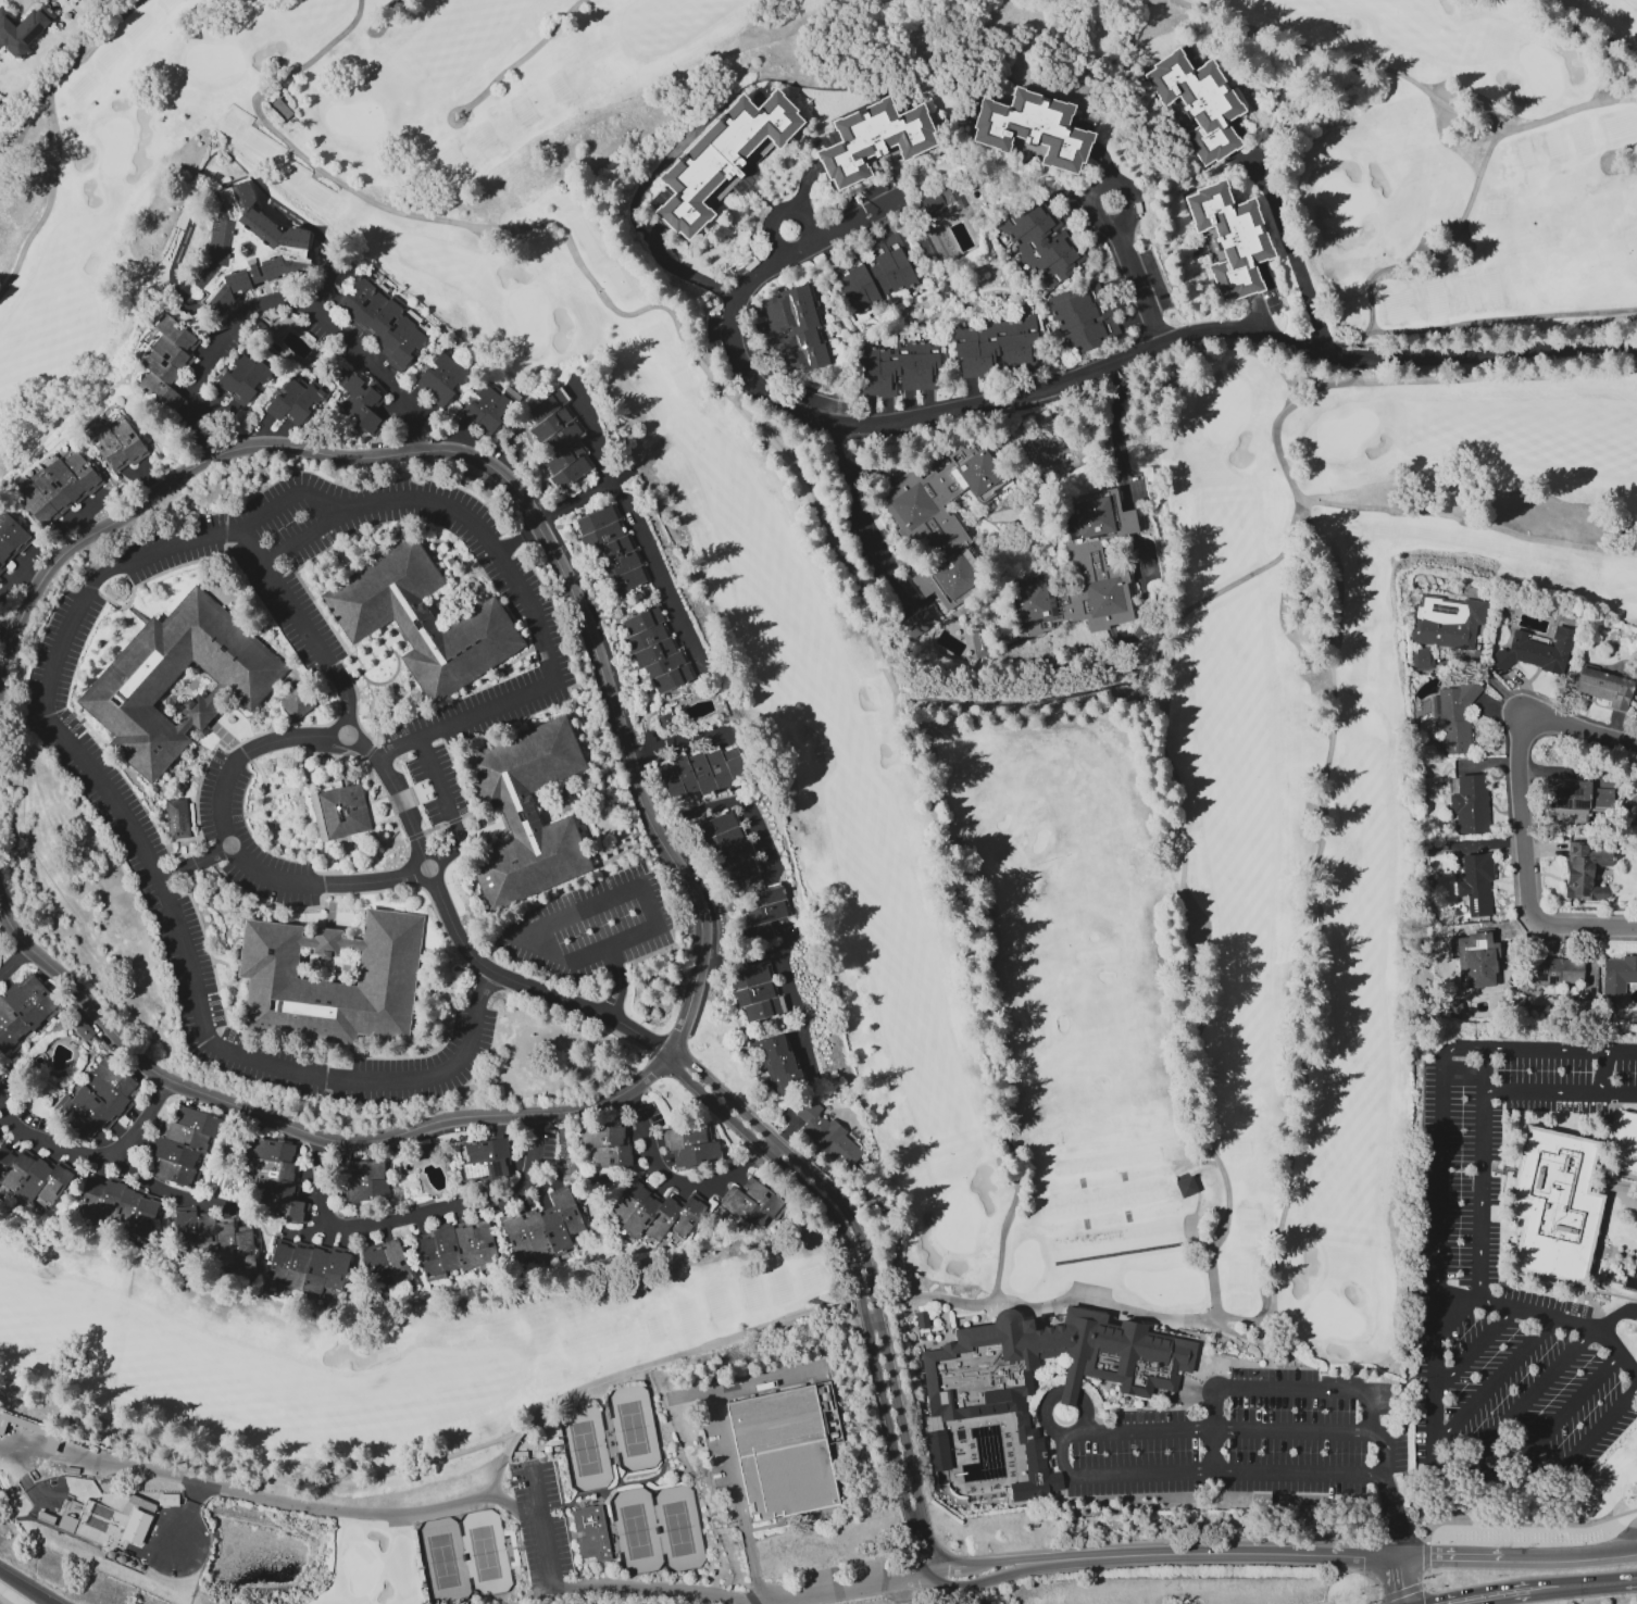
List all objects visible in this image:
road: (1561, 25)
building: (23, 28)
road: (1616, 47)
road: (530, 57)
road: (1341, 60)
building: (1196, 105)
road: (1580, 110)
road: (452, 125)
building: (1030, 130)
road: (57, 135)
building: (871, 142)
building: (717, 159)
road: (803, 188)
building: (935, 200)
road: (784, 208)
road: (1127, 215)
building: (1229, 240)
building: (1040, 243)
building: (245, 247)
road: (1444, 250)
road: (772, 260)
road: (1295, 261)
road: (684, 272)
building: (877, 274)
building: (355, 296)
road: (272, 308)
building: (367, 310)
building: (1083, 316)
building: (384, 318)
road: (1477, 325)
building: (796, 327)
building: (175, 334)
building: (395, 335)
building: (994, 344)
building: (164, 348)
building: (405, 349)
road: (1313, 352)
building: (153, 363)
building: (898, 368)
building: (435, 372)
building: (235, 374)
building: (251, 381)
building: (449, 383)
building: (153, 385)
building: (360, 391)
building: (285, 399)
building: (304, 403)
building: (479, 404)
building: (548, 404)
building: (495, 413)
building: (360, 414)
building: (552, 423)
road: (883, 428)
road: (1115, 430)
building: (563, 436)
building: (127, 439)
building: (110, 448)
road: (1277, 449)
building: (564, 456)
building: (79, 469)
building: (571, 473)
road: (799, 476)
building: (57, 485)
road: (574, 502)
building: (35, 503)
road: (849, 504)
building: (597, 521)
building: (944, 523)
road: (634, 528)
road: (310, 536)
building: (602, 536)
building: (11, 538)
road: (518, 540)
building: (612, 550)
building: (620, 565)
building: (1079, 573)
road: (510, 575)
building: (626, 580)
building: (418, 621)
building: (643, 621)
building: (1446, 622)
building: (914, 624)
road: (304, 629)
road: (8, 630)
building: (646, 638)
building: (654, 652)
building: (1535, 652)
building: (1422, 660)
building: (665, 664)
building: (673, 678)
building: (1604, 688)
building: (124, 689)
building: (295, 703)
building: (1454, 717)
road: (1580, 730)
park: (1086, 744)
building: (734, 766)
building: (716, 769)
building: (700, 772)
road: (226, 774)
building: (685, 775)
building: (670, 779)
building: (1633, 791)
building: (1573, 795)
building: (1470, 805)
road: (703, 809)
road: (452, 810)
building: (342, 813)
building: (524, 815)
building: (176, 819)
building: (1635, 824)
building: (717, 825)
road: (660, 836)
building: (724, 840)
road: (772, 854)
building: (733, 855)
road: (192, 866)
building: (740, 870)
road: (1528, 873)
building: (1584, 873)
road: (1183, 884)
building: (1474, 884)
road: (160, 894)
building: (770, 895)
building: (767, 913)
building: (1484, 957)
road: (560, 960)
road: (15, 965)
building: (266, 970)
building: (1555, 972)
building: (1619, 975)
building: (751, 977)
road: (621, 987)
road: (524, 989)
building: (754, 993)
building: (765, 1008)
building: (23, 1011)
building: (778, 1065)
road: (1484, 1072)
road: (1604, 1075)
road: (1442, 1081)
building: (100, 1099)
road: (1483, 1120)
building: (0, 1131)
building: (827, 1136)
building: (1625, 1144)
building: (184, 1145)
building: (608, 1145)
building: (690, 1146)
building: (422, 1152)
building: (486, 1160)
road: (99, 1161)
building: (30, 1178)
building: (277, 1179)
building: (363, 1180)
building: (1184, 1186)
road: (677, 1188)
road: (172, 1192)
building: (752, 1203)
building: (1554, 1205)
building: (116, 1210)
building: (653, 1214)
road: (420, 1216)
building: (543, 1227)
building: (216, 1236)
building: (455, 1250)
building: (388, 1266)
building: (307, 1269)
road: (1029, 1309)
road: (1542, 1315)
building: (922, 1320)
road: (1609, 1337)
road: (1260, 1342)
road: (1476, 1349)
building: (1129, 1366)
road: (1497, 1382)
road: (1358, 1393)
road: (1526, 1399)
road: (1048, 1406)
road: (1569, 1412)
road: (1437, 1417)
building: (20, 1423)
park: (632, 1428)
building: (1024, 1430)
road: (1598, 1431)
road: (1148, 1432)
road: (1297, 1433)
park: (586, 1448)
building: (1026, 1448)
building: (557, 1449)
building: (936, 1450)
road: (725, 1452)
road: (1216, 1452)
building: (785, 1453)
road: (497, 1470)
road: (1199, 1474)
building: (1029, 1476)
building: (1017, 1482)
building: (549, 1487)
road: (89, 1494)
road: (267, 1496)
park: (678, 1527)
park: (636, 1529)
building: (591, 1533)
park: (484, 1551)
park: (442, 1558)
building: (138, 1566)
building: (143, 1568)
road: (987, 1568)
building: (148, 1572)
building: (153, 1576)
road: (1611, 1580)
road: (1404, 1581)
road: (27, 1587)
road: (1498, 1588)
road: (22, 1589)
road: (898, 1589)
road: (686, 1591)
road: (1542, 1595)

